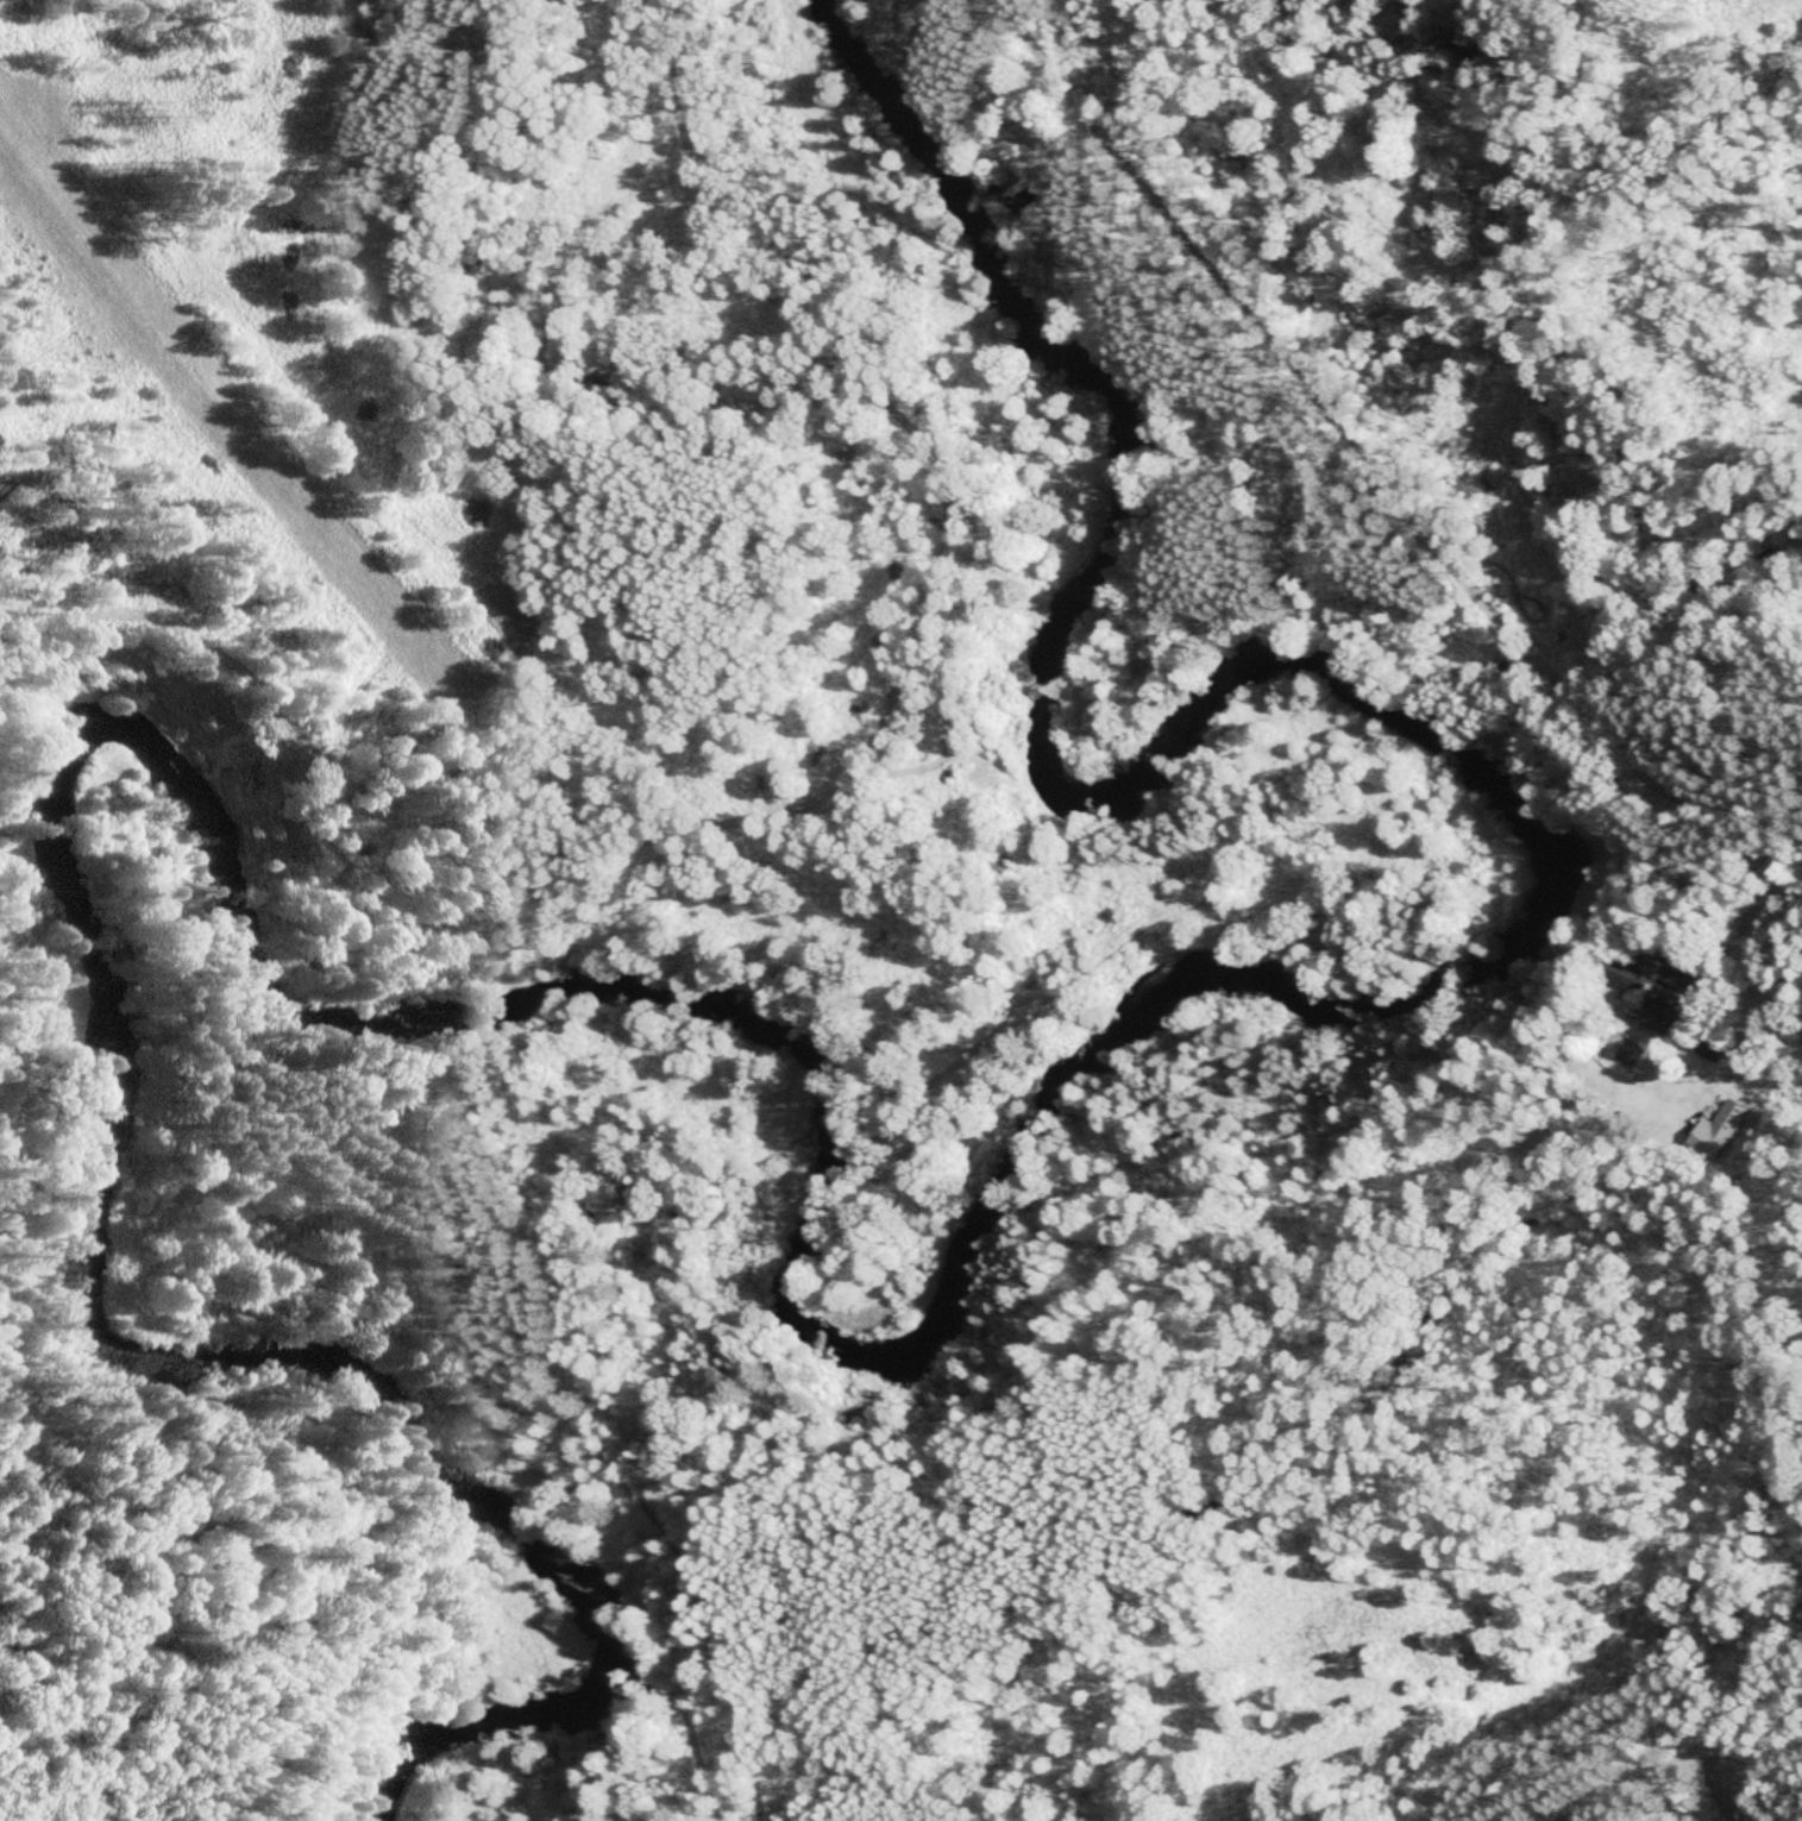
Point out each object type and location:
road: (1368, 457)
road: (835, 742)
road: (1735, 883)
building: (1660, 986)
building: (1791, 992)
building: (1718, 1134)
river: (808, 1235)
road: (1748, 1681)

